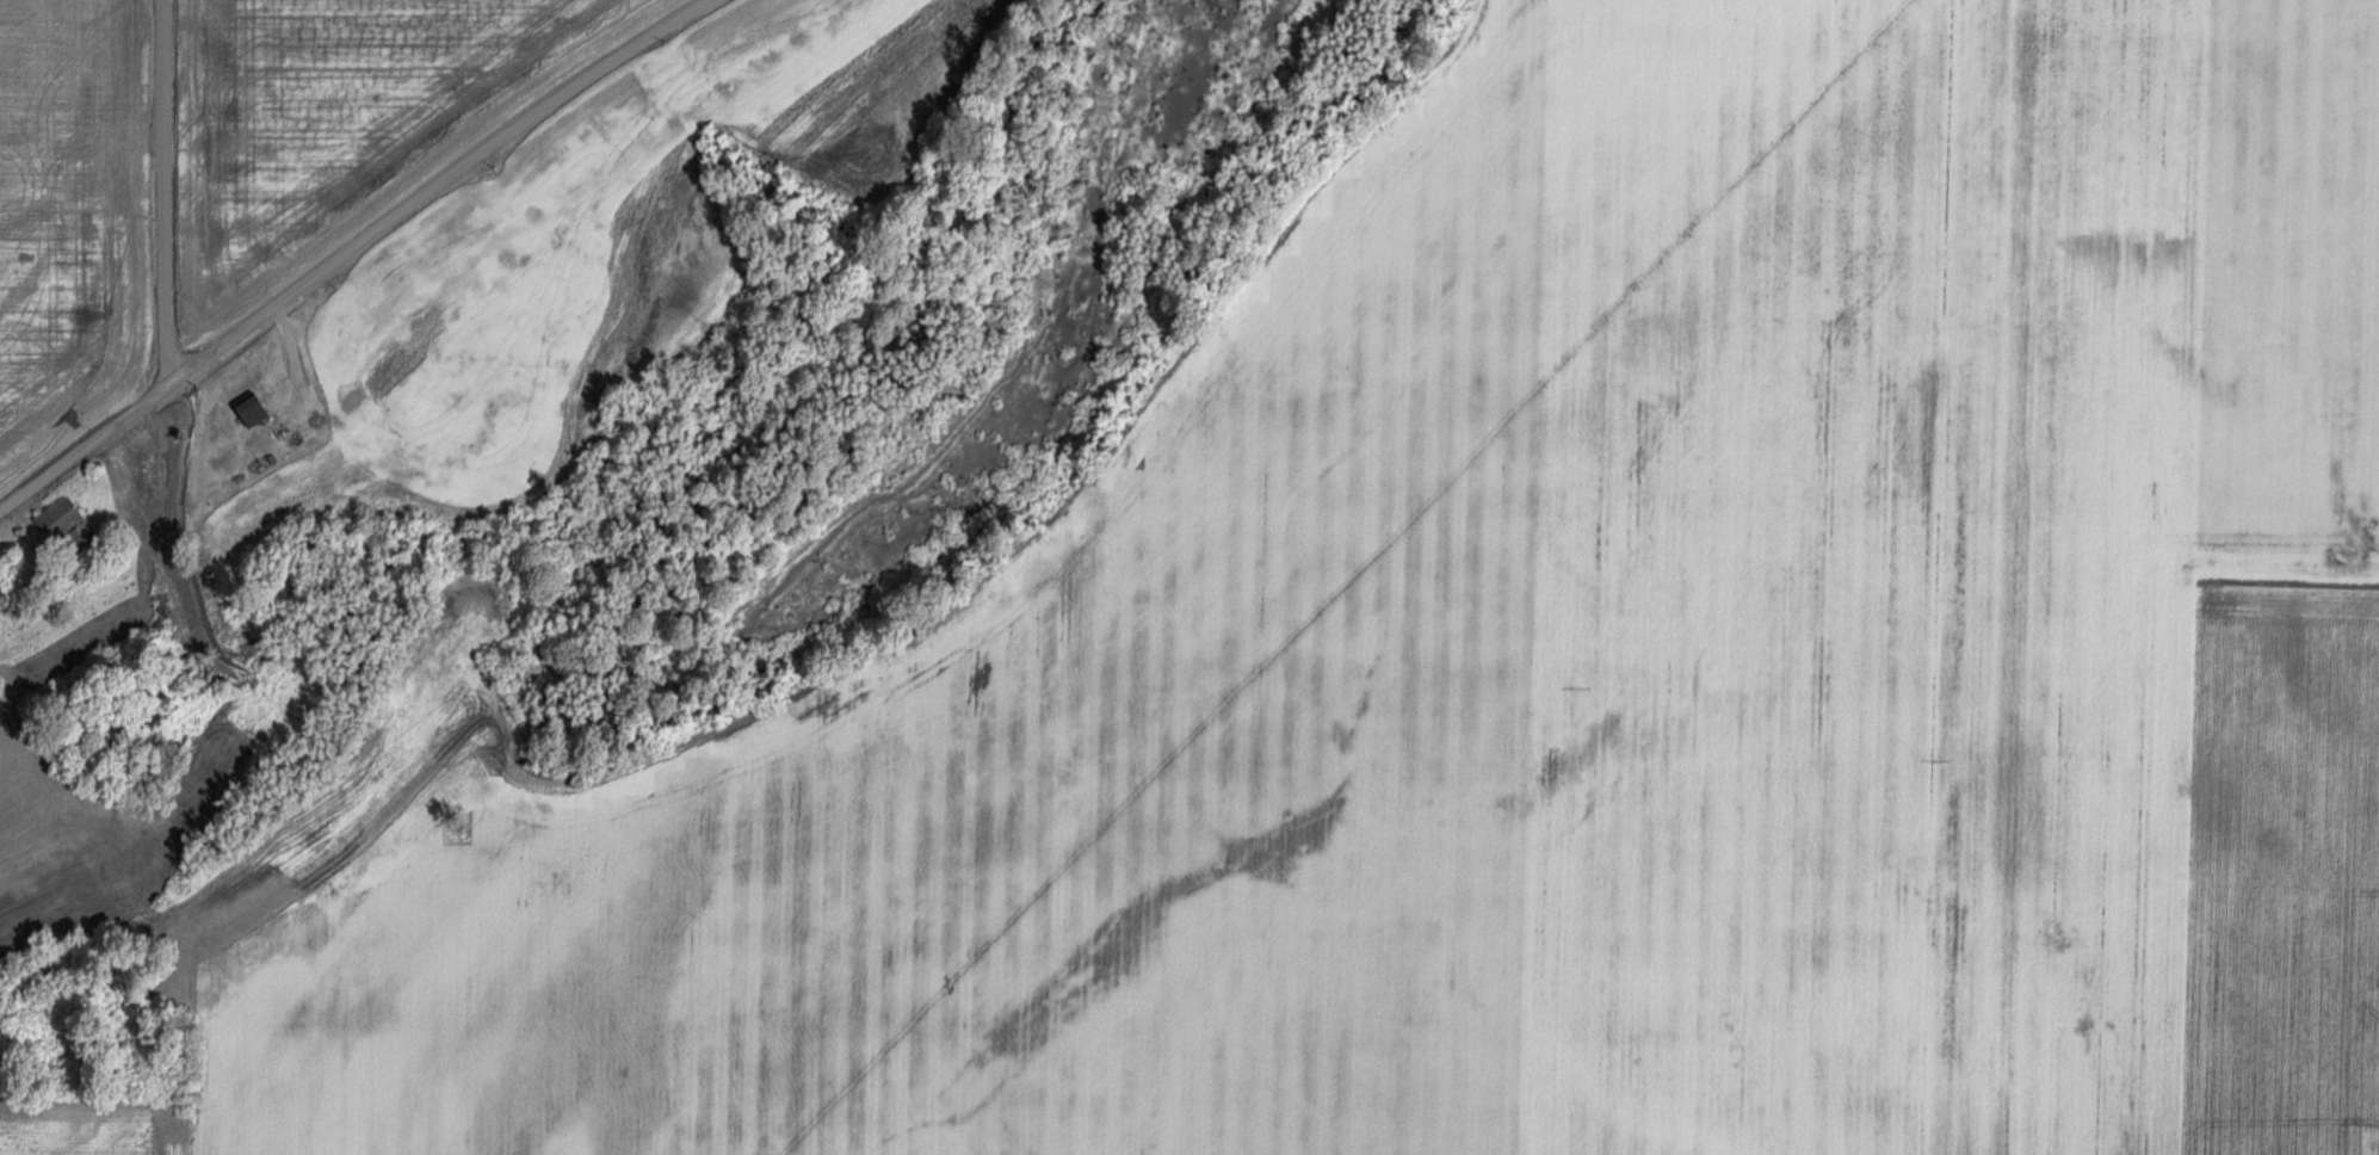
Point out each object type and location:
road: (168, 190)
road: (352, 253)
road: (297, 377)
building: (245, 410)
building: (64, 513)
building: (2, 601)

